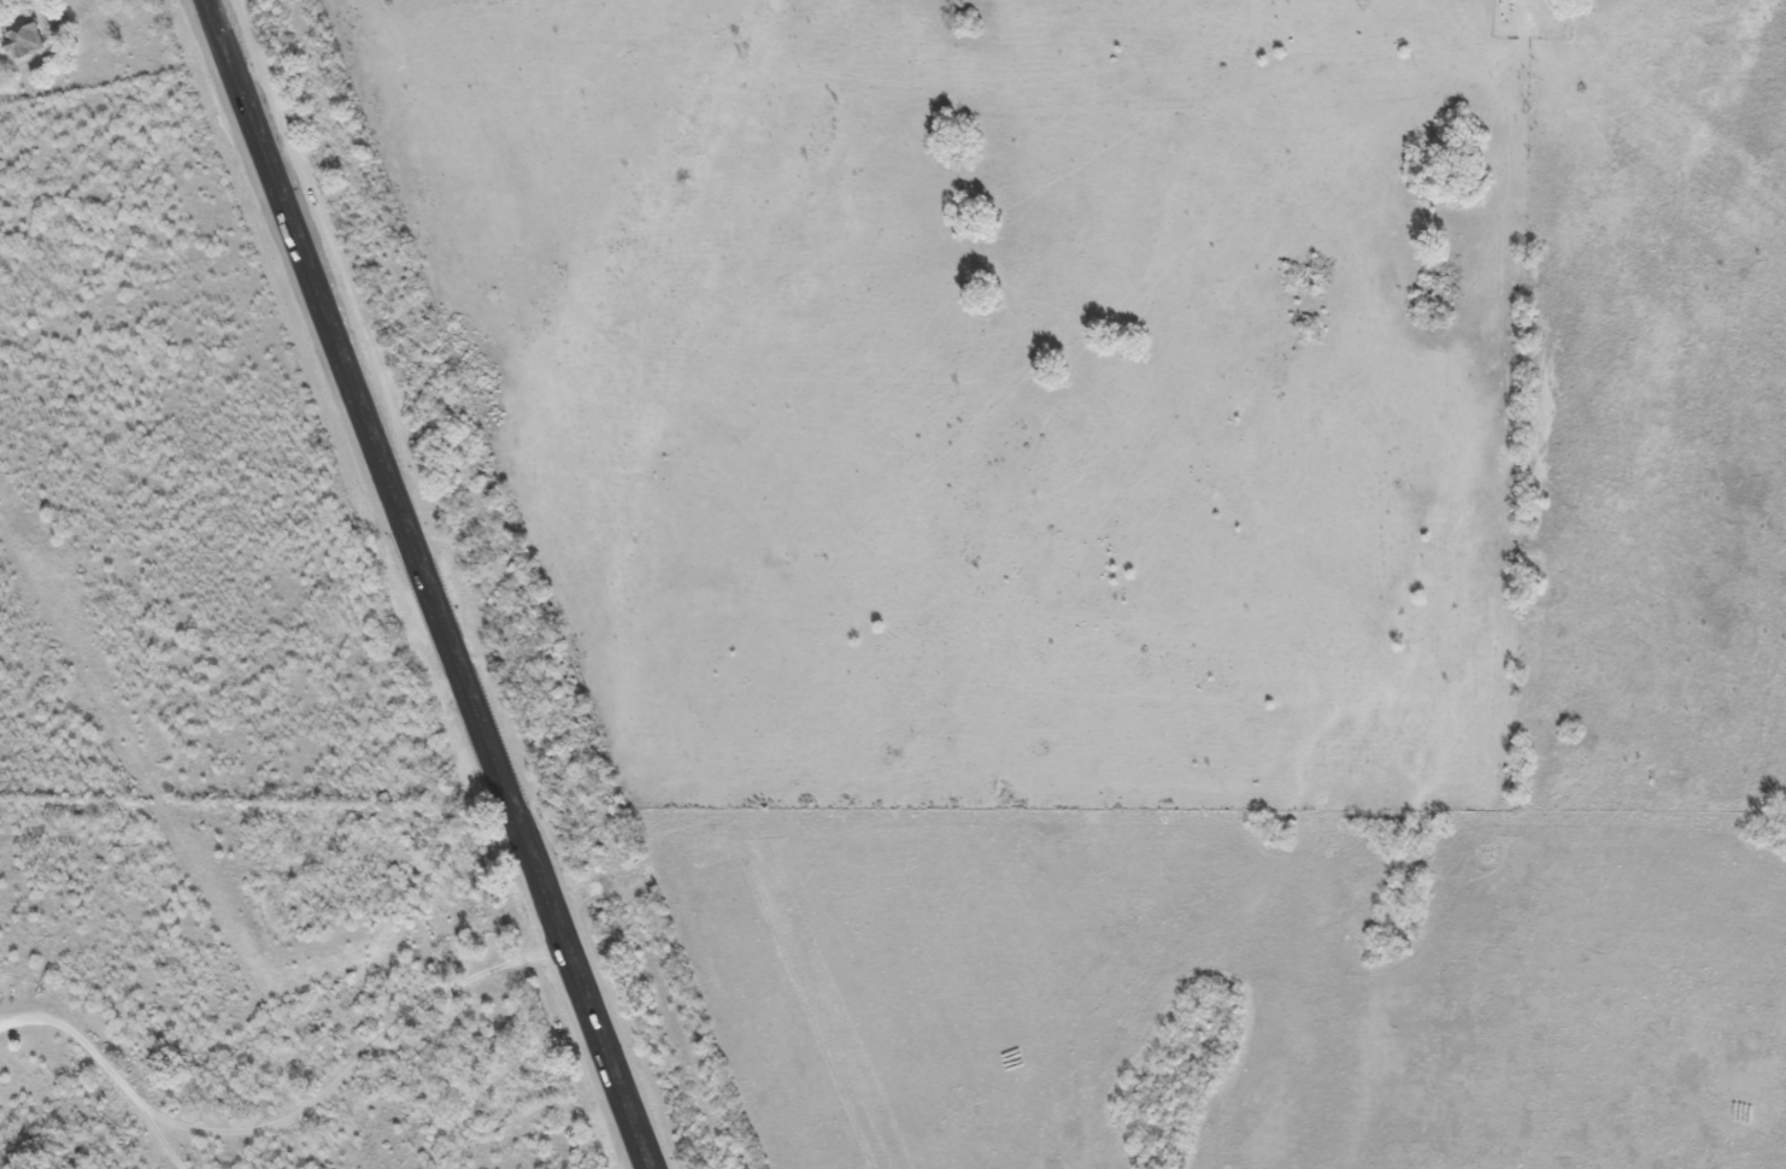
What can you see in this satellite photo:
building: (23, 37)
road: (435, 583)

